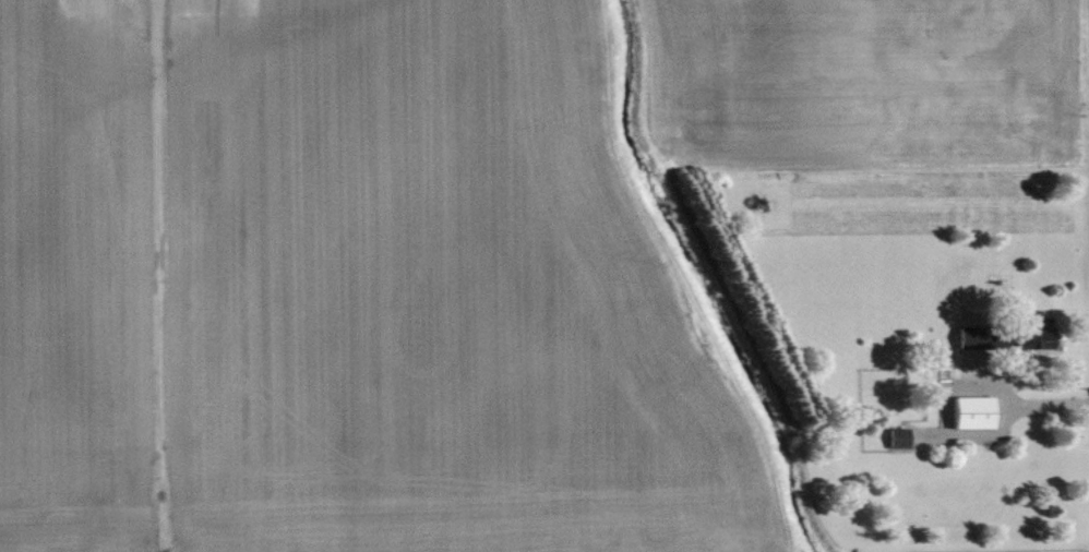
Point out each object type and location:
building: (906, 84)
building: (1008, 336)
building: (976, 412)
building: (900, 437)

